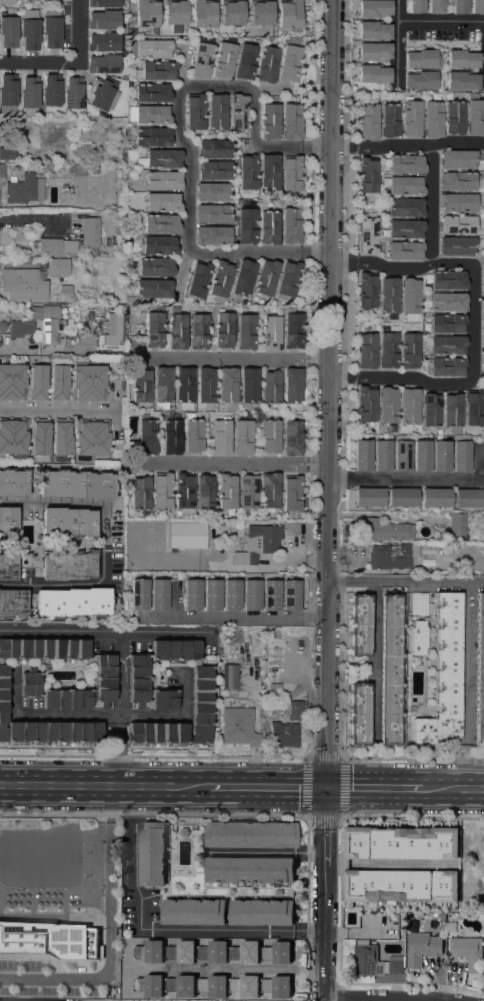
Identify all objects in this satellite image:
building: (7, 2)
building: (51, 2)
building: (103, 3)
building: (416, 6)
building: (436, 6)
building: (458, 6)
building: (477, 6)
building: (374, 8)
building: (175, 12)
building: (232, 12)
building: (261, 12)
building: (147, 13)
building: (289, 14)
building: (203, 15)
building: (103, 19)
building: (304, 21)
road: (441, 21)
building: (51, 28)
building: (29, 30)
building: (374, 30)
building: (8, 32)
building: (103, 41)
road: (397, 44)
building: (150, 48)
building: (372, 51)
building: (123, 52)
building: (420, 58)
building: (461, 58)
building: (202, 60)
building: (223, 60)
road: (69, 61)
building: (245, 61)
building: (289, 63)
building: (102, 64)
building: (267, 64)
building: (157, 70)
building: (373, 73)
building: (420, 80)
building: (462, 80)
road: (217, 85)
building: (51, 90)
road: (268, 90)
building: (73, 92)
building: (152, 92)
building: (7, 94)
building: (104, 94)
building: (30, 97)
building: (217, 111)
building: (238, 111)
building: (195, 112)
building: (150, 114)
building: (411, 116)
building: (455, 116)
road: (253, 117)
building: (475, 117)
building: (433, 119)
building: (390, 120)
building: (291, 121)
building: (368, 121)
building: (270, 122)
building: (153, 136)
road: (423, 144)
road: (317, 146)
road: (347, 146)
road: (280, 147)
building: (215, 148)
building: (7, 153)
building: (160, 158)
building: (459, 159)
building: (405, 163)
road: (192, 167)
building: (51, 169)
building: (2, 170)
building: (79, 170)
building: (94, 170)
building: (214, 170)
building: (248, 172)
building: (269, 172)
building: (291, 173)
building: (368, 174)
building: (163, 180)
building: (457, 181)
building: (404, 185)
building: (23, 189)
building: (212, 191)
building: (163, 202)
building: (458, 202)
road: (435, 204)
building: (405, 207)
building: (213, 214)
building: (247, 220)
building: (161, 224)
building: (457, 224)
building: (290, 225)
building: (269, 227)
building: (406, 228)
building: (90, 232)
building: (212, 235)
building: (367, 235)
building: (159, 245)
building: (56, 246)
building: (457, 246)
building: (405, 250)
road: (248, 251)
road: (318, 251)
road: (344, 262)
building: (57, 267)
building: (155, 267)
road: (416, 268)
building: (244, 277)
building: (266, 277)
building: (288, 279)
building: (221, 280)
building: (448, 280)
building: (198, 281)
building: (23, 284)
building: (152, 288)
building: (367, 290)
building: (66, 292)
building: (389, 295)
building: (410, 296)
building: (483, 297)
building: (130, 300)
building: (447, 302)
building: (483, 315)
building: (447, 323)
building: (49, 324)
road: (475, 324)
building: (177, 327)
building: (21, 328)
building: (154, 329)
building: (224, 329)
building: (293, 330)
building: (199, 331)
building: (246, 331)
building: (113, 332)
building: (271, 333)
building: (483, 338)
building: (68, 341)
building: (445, 345)
building: (388, 346)
building: (366, 350)
building: (409, 350)
road: (17, 352)
road: (233, 357)
building: (483, 360)
building: (447, 366)
road: (343, 377)
building: (58, 379)
road: (416, 379)
building: (12, 382)
building: (37, 382)
building: (88, 382)
building: (141, 384)
building: (227, 386)
building: (249, 386)
building: (271, 386)
building: (163, 387)
building: (184, 387)
building: (206, 387)
building: (292, 389)
road: (329, 393)
building: (366, 403)
building: (388, 406)
building: (409, 406)
building: (474, 409)
building: (431, 410)
road: (51, 412)
building: (452, 412)
building: (193, 434)
building: (147, 435)
building: (172, 436)
building: (270, 436)
building: (221, 437)
building: (242, 437)
building: (292, 437)
building: (13, 438)
building: (91, 438)
building: (39, 439)
building: (61, 439)
building: (362, 455)
building: (382, 455)
building: (401, 455)
building: (461, 455)
building: (421, 456)
building: (441, 456)
road: (231, 465)
road: (422, 479)
building: (13, 482)
building: (76, 484)
building: (162, 490)
building: (227, 491)
building: (270, 491)
building: (140, 492)
building: (205, 492)
building: (292, 492)
building: (183, 493)
building: (248, 494)
building: (369, 497)
building: (402, 497)
building: (435, 497)
building: (469, 498)
building: (7, 521)
building: (68, 522)
building: (457, 524)
building: (384, 530)
building: (223, 531)
building: (187, 533)
building: (435, 537)
road: (104, 542)
building: (258, 543)
building: (210, 556)
building: (391, 556)
building: (68, 565)
building: (7, 566)
road: (405, 581)
building: (139, 593)
building: (159, 594)
building: (192, 594)
building: (212, 594)
building: (231, 595)
building: (251, 595)
building: (271, 595)
building: (291, 595)
building: (72, 602)
building: (12, 603)
building: (418, 603)
road: (231, 617)
building: (360, 624)
road: (104, 634)
road: (175, 634)
building: (417, 637)
road: (467, 662)
road: (374, 663)
building: (480, 667)
building: (390, 670)
building: (444, 674)
building: (230, 676)
building: (56, 686)
building: (274, 689)
building: (169, 693)
building: (411, 708)
building: (295, 709)
building: (359, 714)
road: (98, 716)
building: (238, 726)
building: (283, 734)
road: (120, 755)
road: (341, 757)
road: (105, 787)
road: (269, 787)
traffic signals: (326, 787)
road: (380, 787)
road: (459, 787)
building: (250, 834)
building: (152, 854)
building: (103, 861)
building: (346, 864)
building: (22, 865)
building: (250, 870)
building: (279, 891)
road: (325, 894)
building: (262, 906)
building: (451, 915)
building: (442, 921)
building: (96, 929)
road: (178, 929)
building: (48, 939)
building: (421, 947)
building: (468, 951)
building: (376, 962)
building: (270, 963)
road: (83, 976)
road: (387, 999)
building: (20, 1000)

